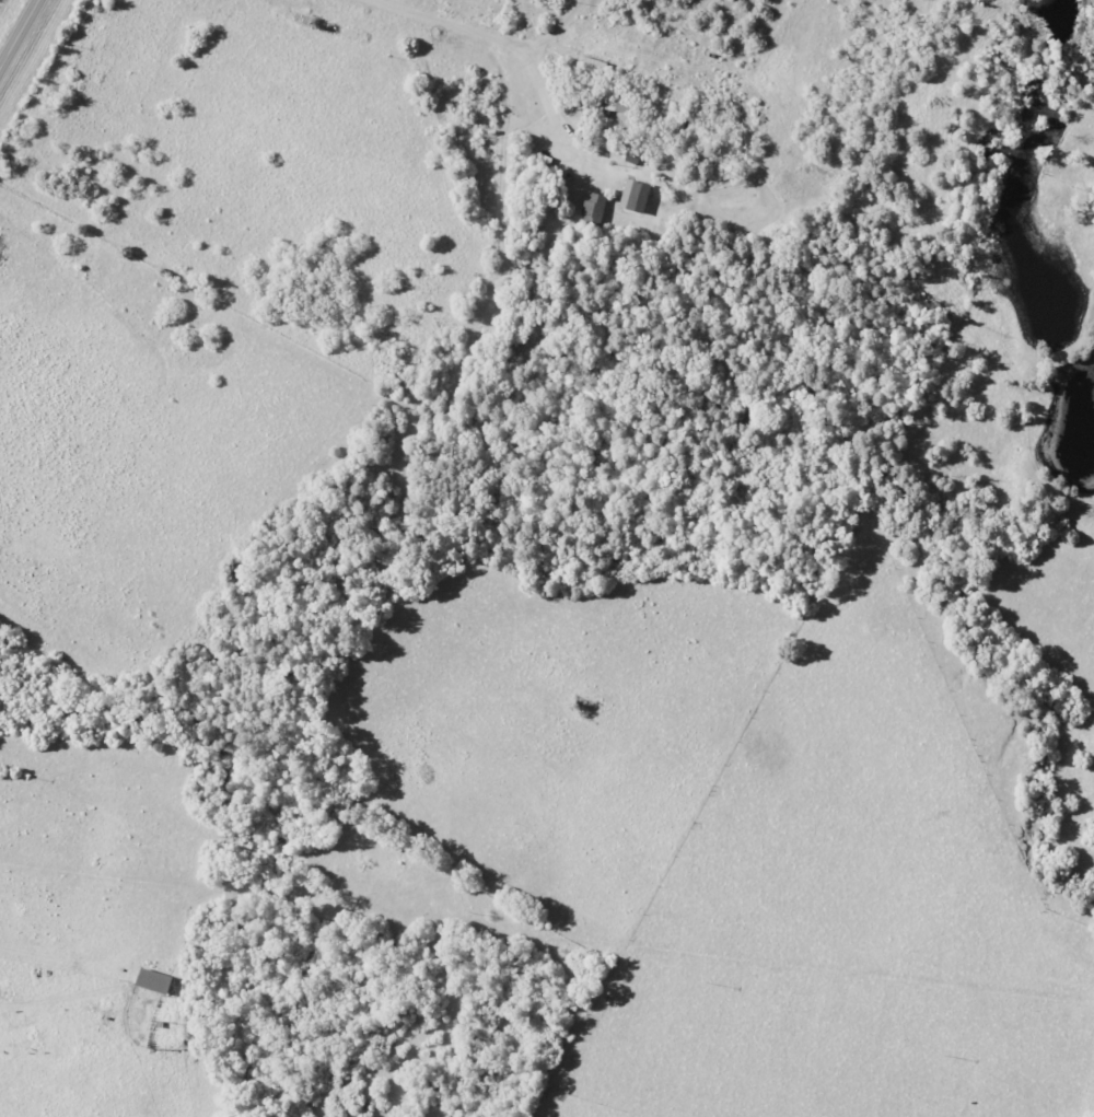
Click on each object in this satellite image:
road: (554, 25)
road: (19, 34)
road: (508, 39)
building: (618, 107)
building: (637, 196)
building: (594, 209)
building: (149, 980)

